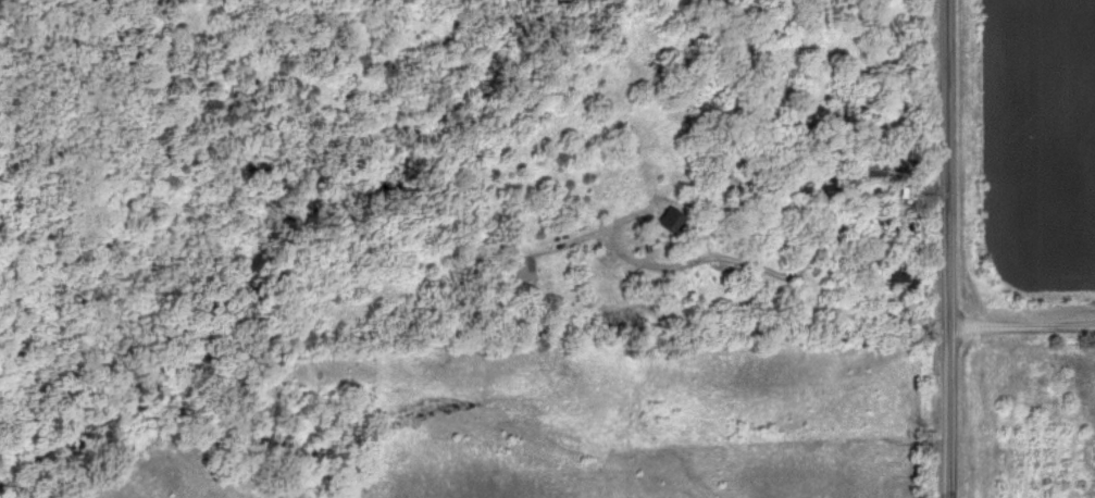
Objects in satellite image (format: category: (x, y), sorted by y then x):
road: (946, 248)
road: (1020, 323)

